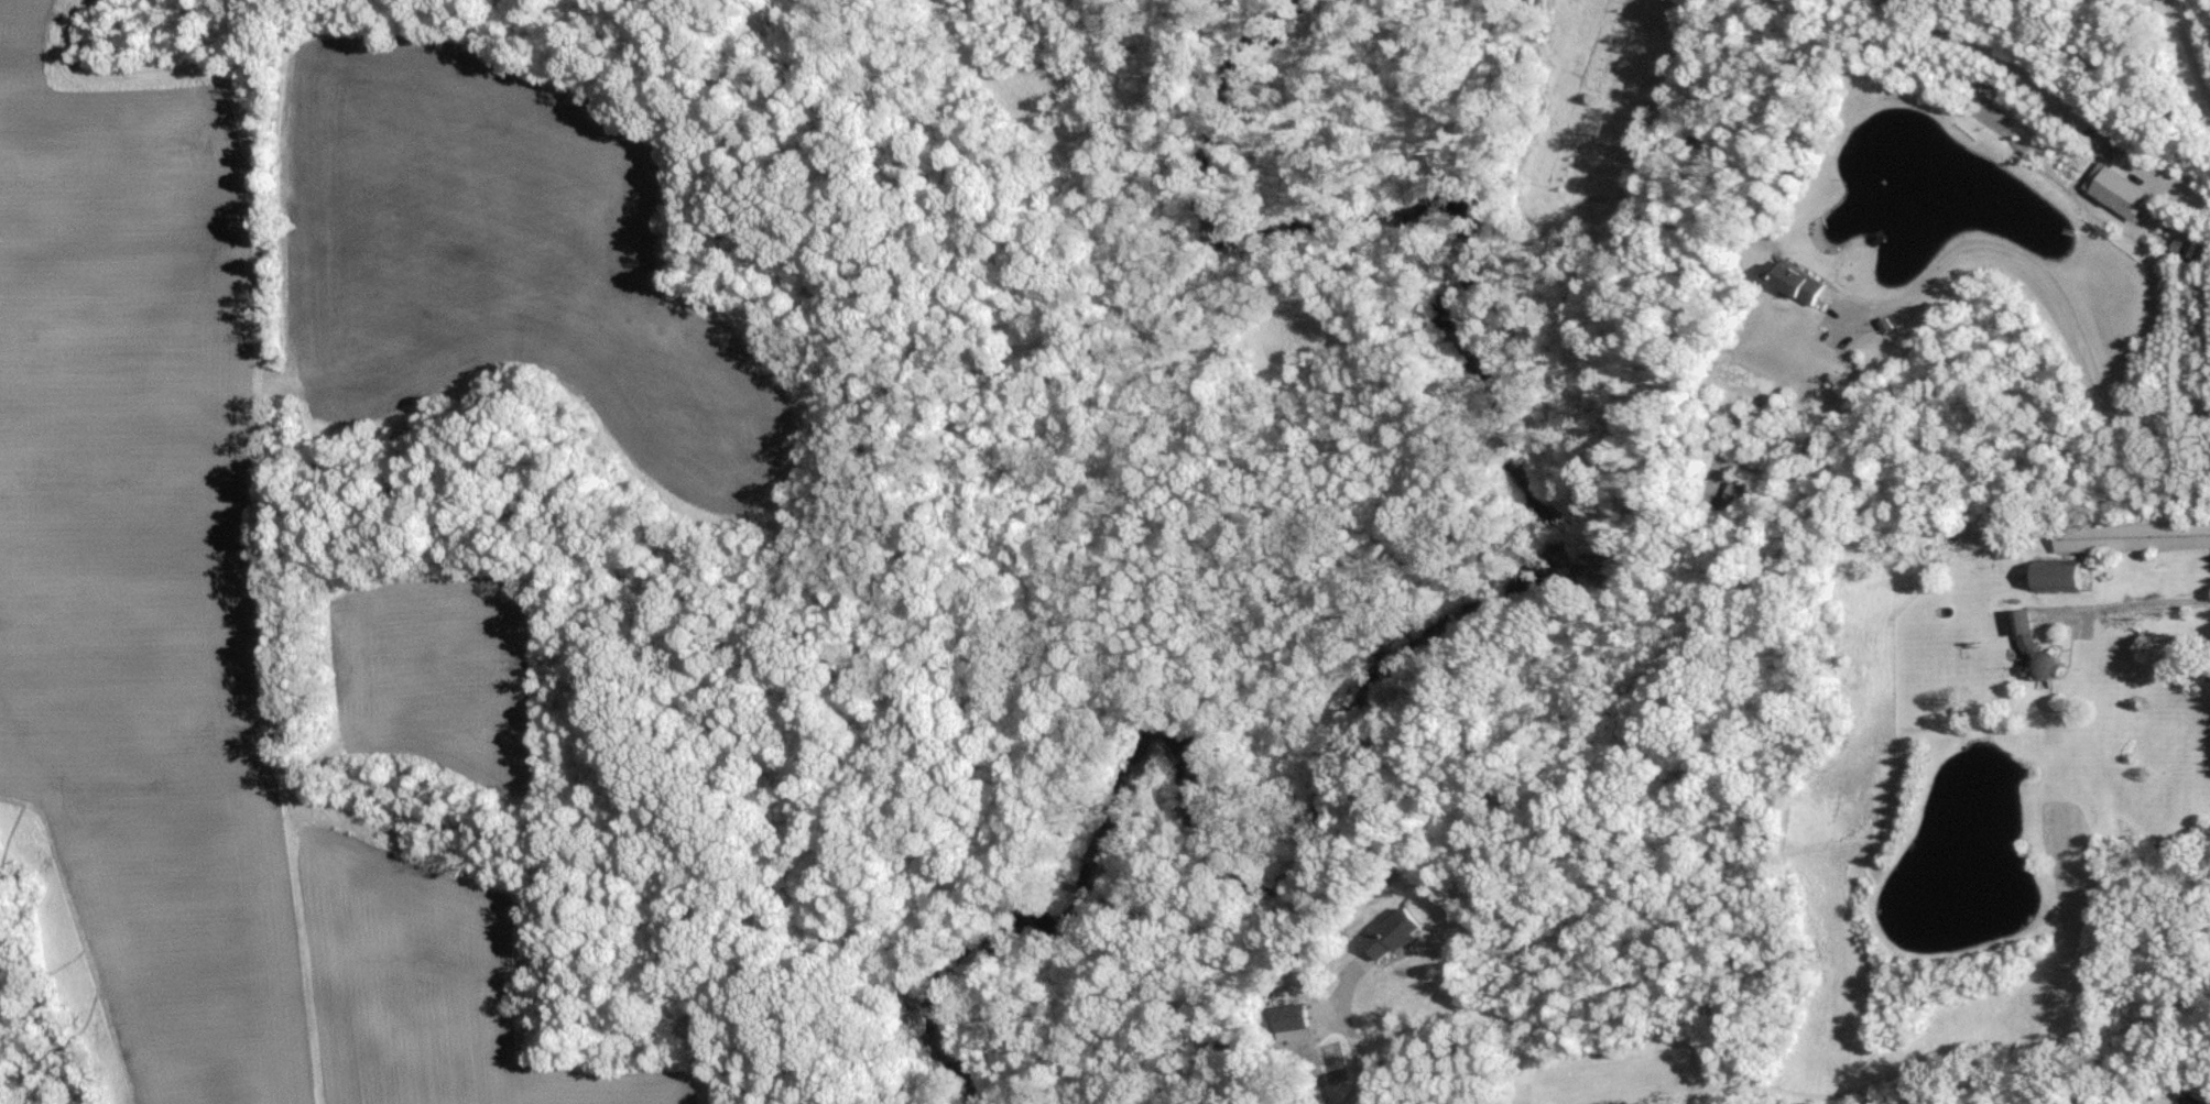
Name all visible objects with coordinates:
road: (2186, 52)
road: (2039, 273)
building: (1804, 282)
building: (2132, 536)
building: (2067, 573)
road: (2125, 605)
building: (2043, 660)
building: (1396, 932)
road: (1346, 1029)
road: (1255, 1100)

